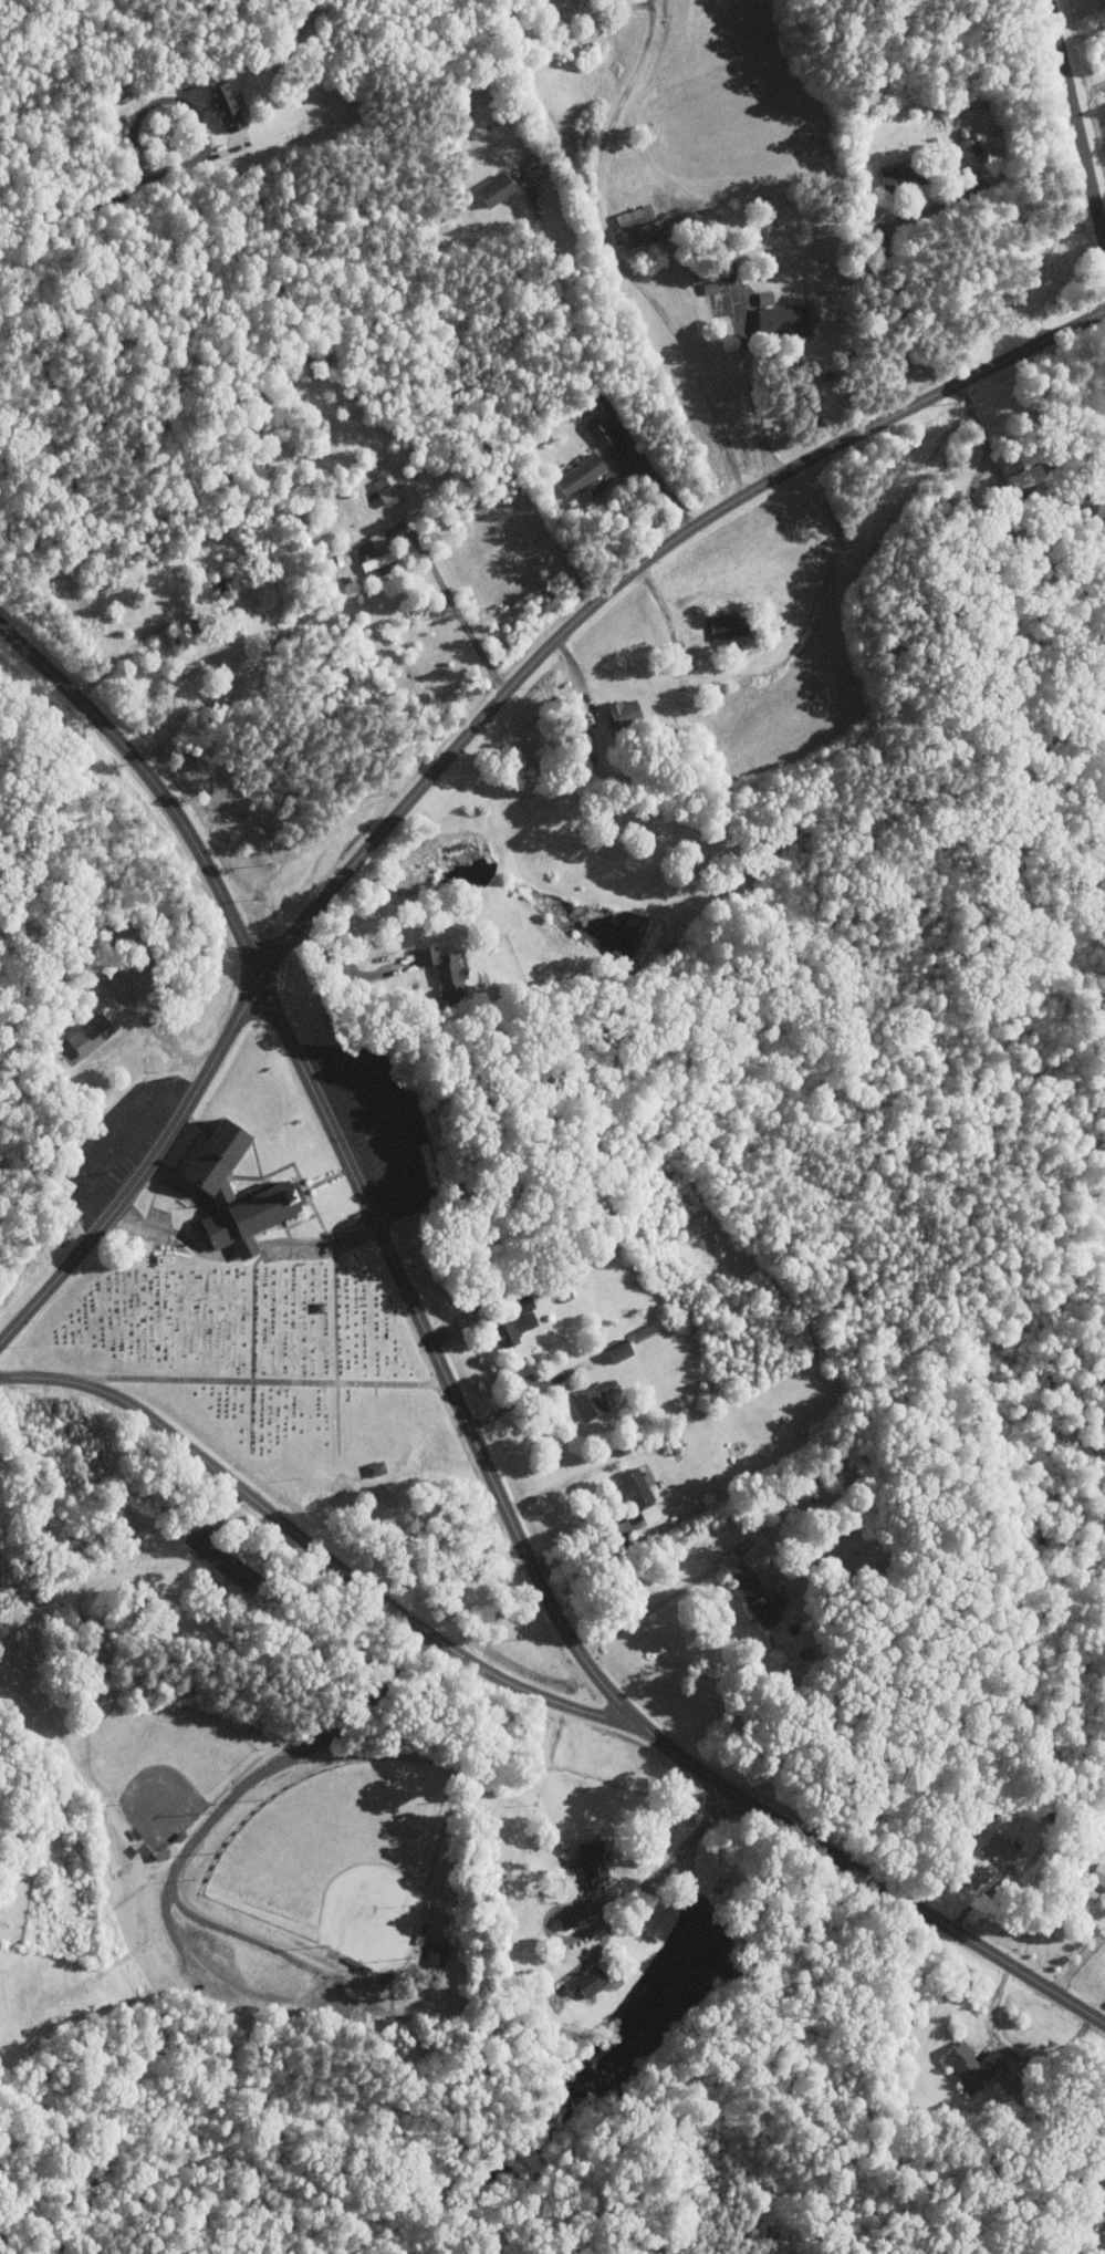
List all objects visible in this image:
building: (219, 105)
road: (188, 107)
road: (1076, 131)
building: (965, 147)
building: (893, 179)
building: (489, 190)
road: (74, 208)
building: (632, 226)
road: (615, 258)
road: (886, 261)
building: (764, 313)
road: (586, 368)
road: (755, 407)
building: (598, 434)
building: (573, 477)
road: (1008, 488)
building: (379, 492)
building: (373, 562)
road: (451, 603)
building: (720, 627)
road: (119, 661)
building: (619, 714)
road: (468, 734)
road: (342, 968)
building: (449, 970)
building: (95, 1035)
road: (406, 1122)
road: (378, 1130)
road: (114, 1138)
road: (92, 1167)
building: (286, 1192)
road: (140, 1223)
road: (319, 1239)
road: (250, 1248)
road: (200, 1253)
building: (517, 1330)
building: (644, 1333)
building: (625, 1351)
road: (522, 1396)
building: (593, 1402)
road: (460, 1410)
building: (378, 1469)
building: (644, 1495)
road: (584, 1546)
road: (319, 1552)
building: (241, 1569)
building: (763, 1600)
road: (646, 1612)
road: (715, 1799)
road: (732, 1810)
road: (192, 1843)
building: (1008, 1855)
building: (593, 1862)
road: (664, 1868)
building: (1099, 1874)
building: (439, 1955)
road: (1078, 1963)
building: (591, 1983)
road: (1010, 2055)
building: (977, 2066)

